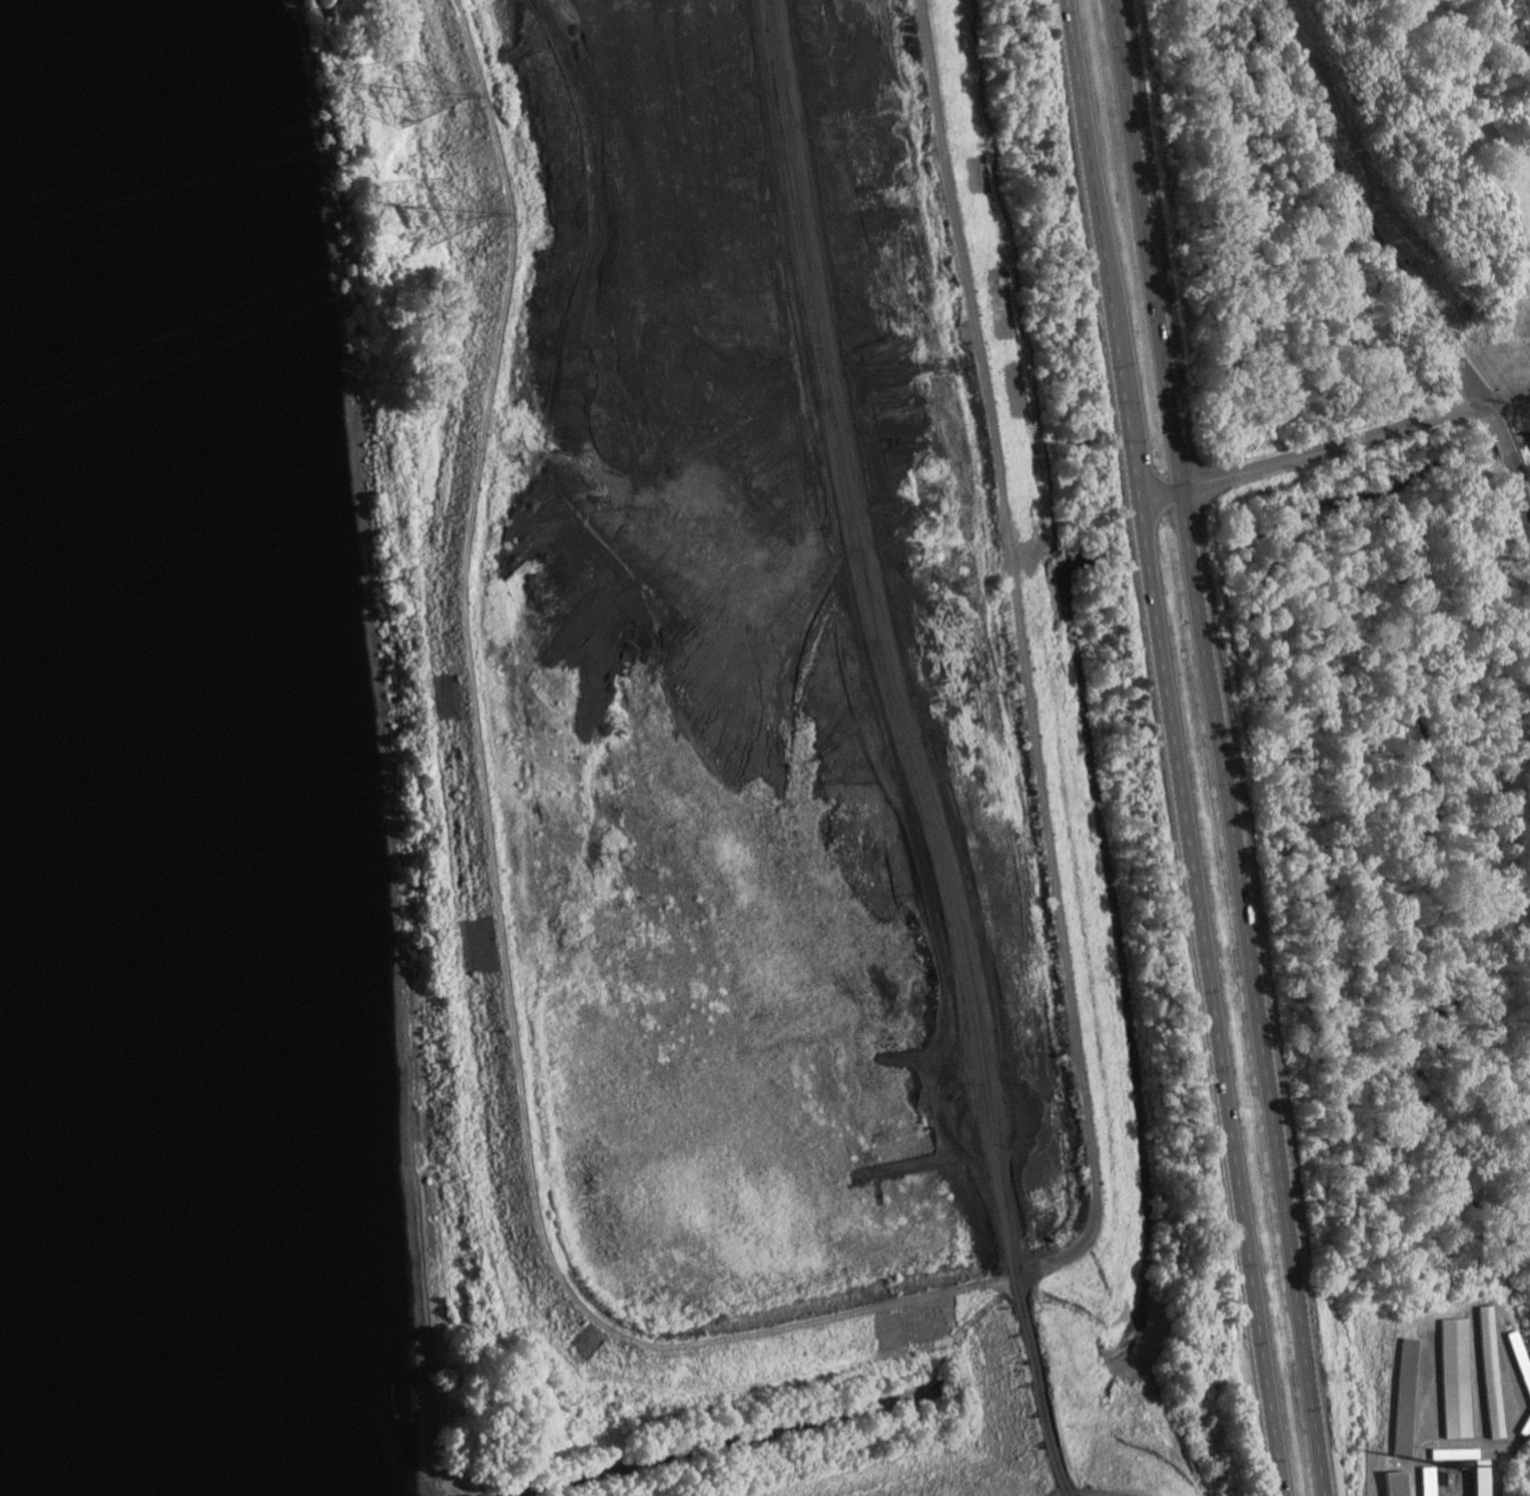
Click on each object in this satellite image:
power tower: (408, 101)
road: (1090, 186)
road: (1362, 201)
power tower: (438, 221)
road: (1492, 416)
road: (1127, 438)
road: (1502, 443)
road: (1332, 447)
road: (1518, 491)
road: (1218, 747)
road: (1212, 999)
building: (1519, 1363)
building: (1489, 1372)
building: (1453, 1378)
building: (1405, 1398)
building: (1525, 1422)
building: (1455, 1454)
building: (1395, 1484)
road: (1091, 1491)

